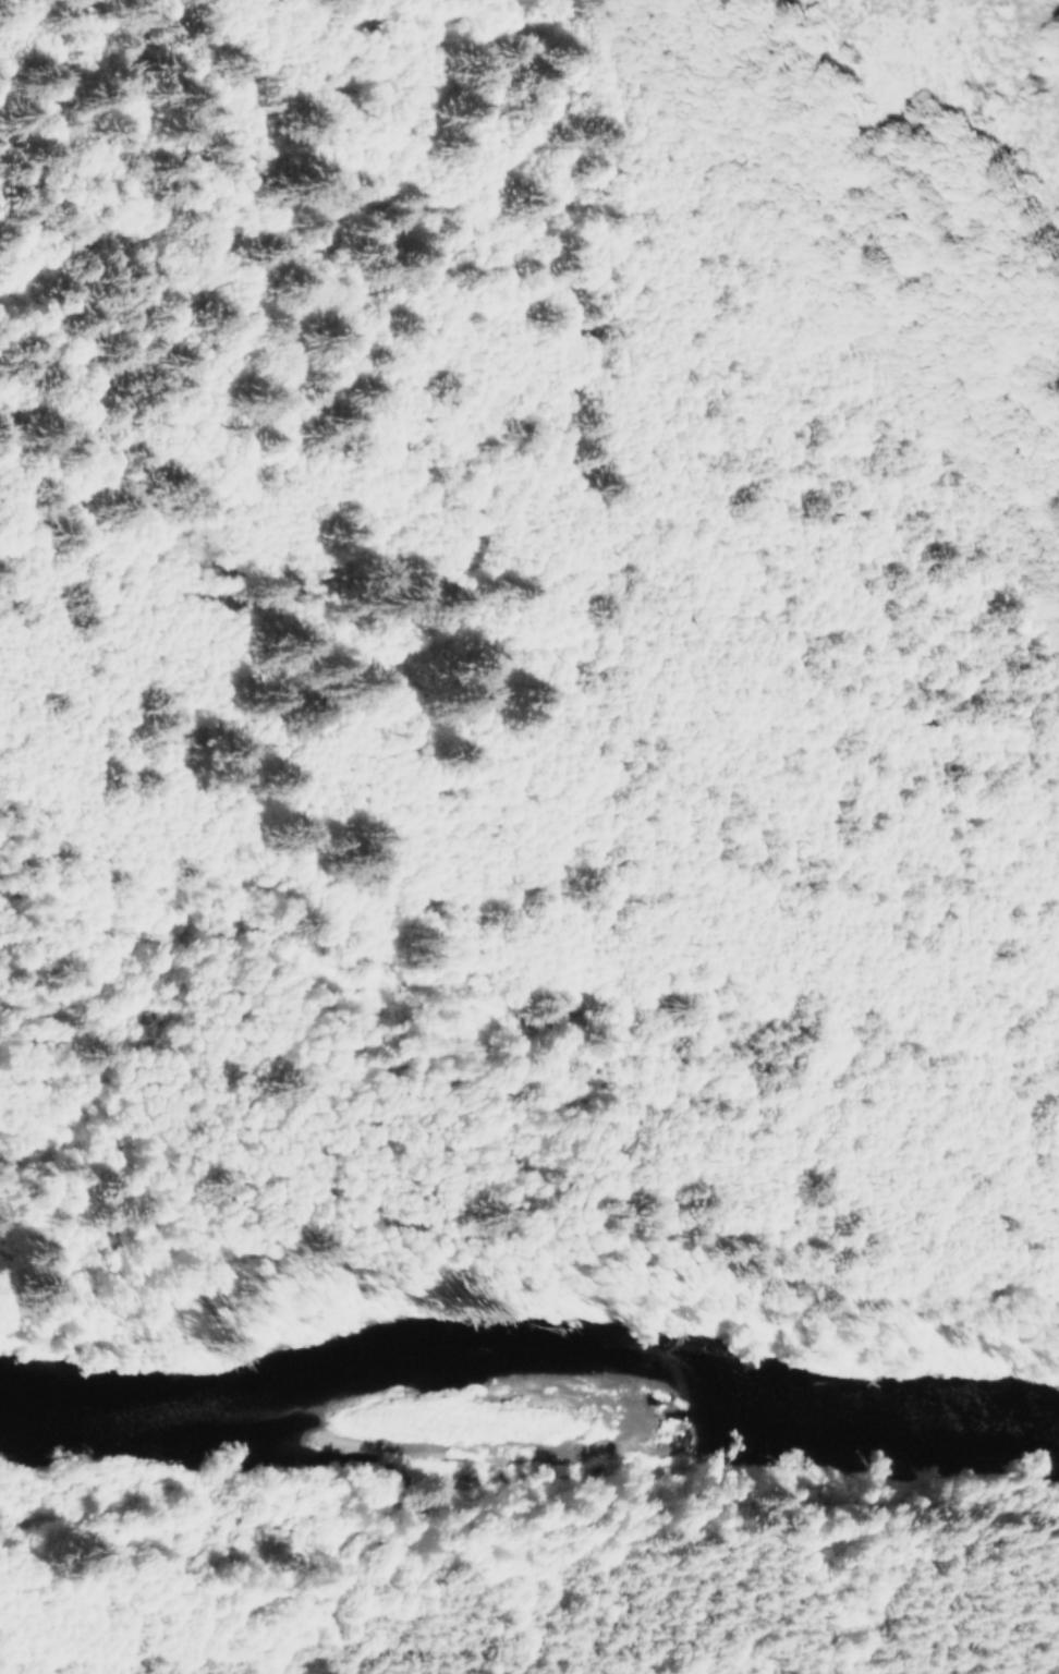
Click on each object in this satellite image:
river: (512, 1357)
river: (1045, 1426)

